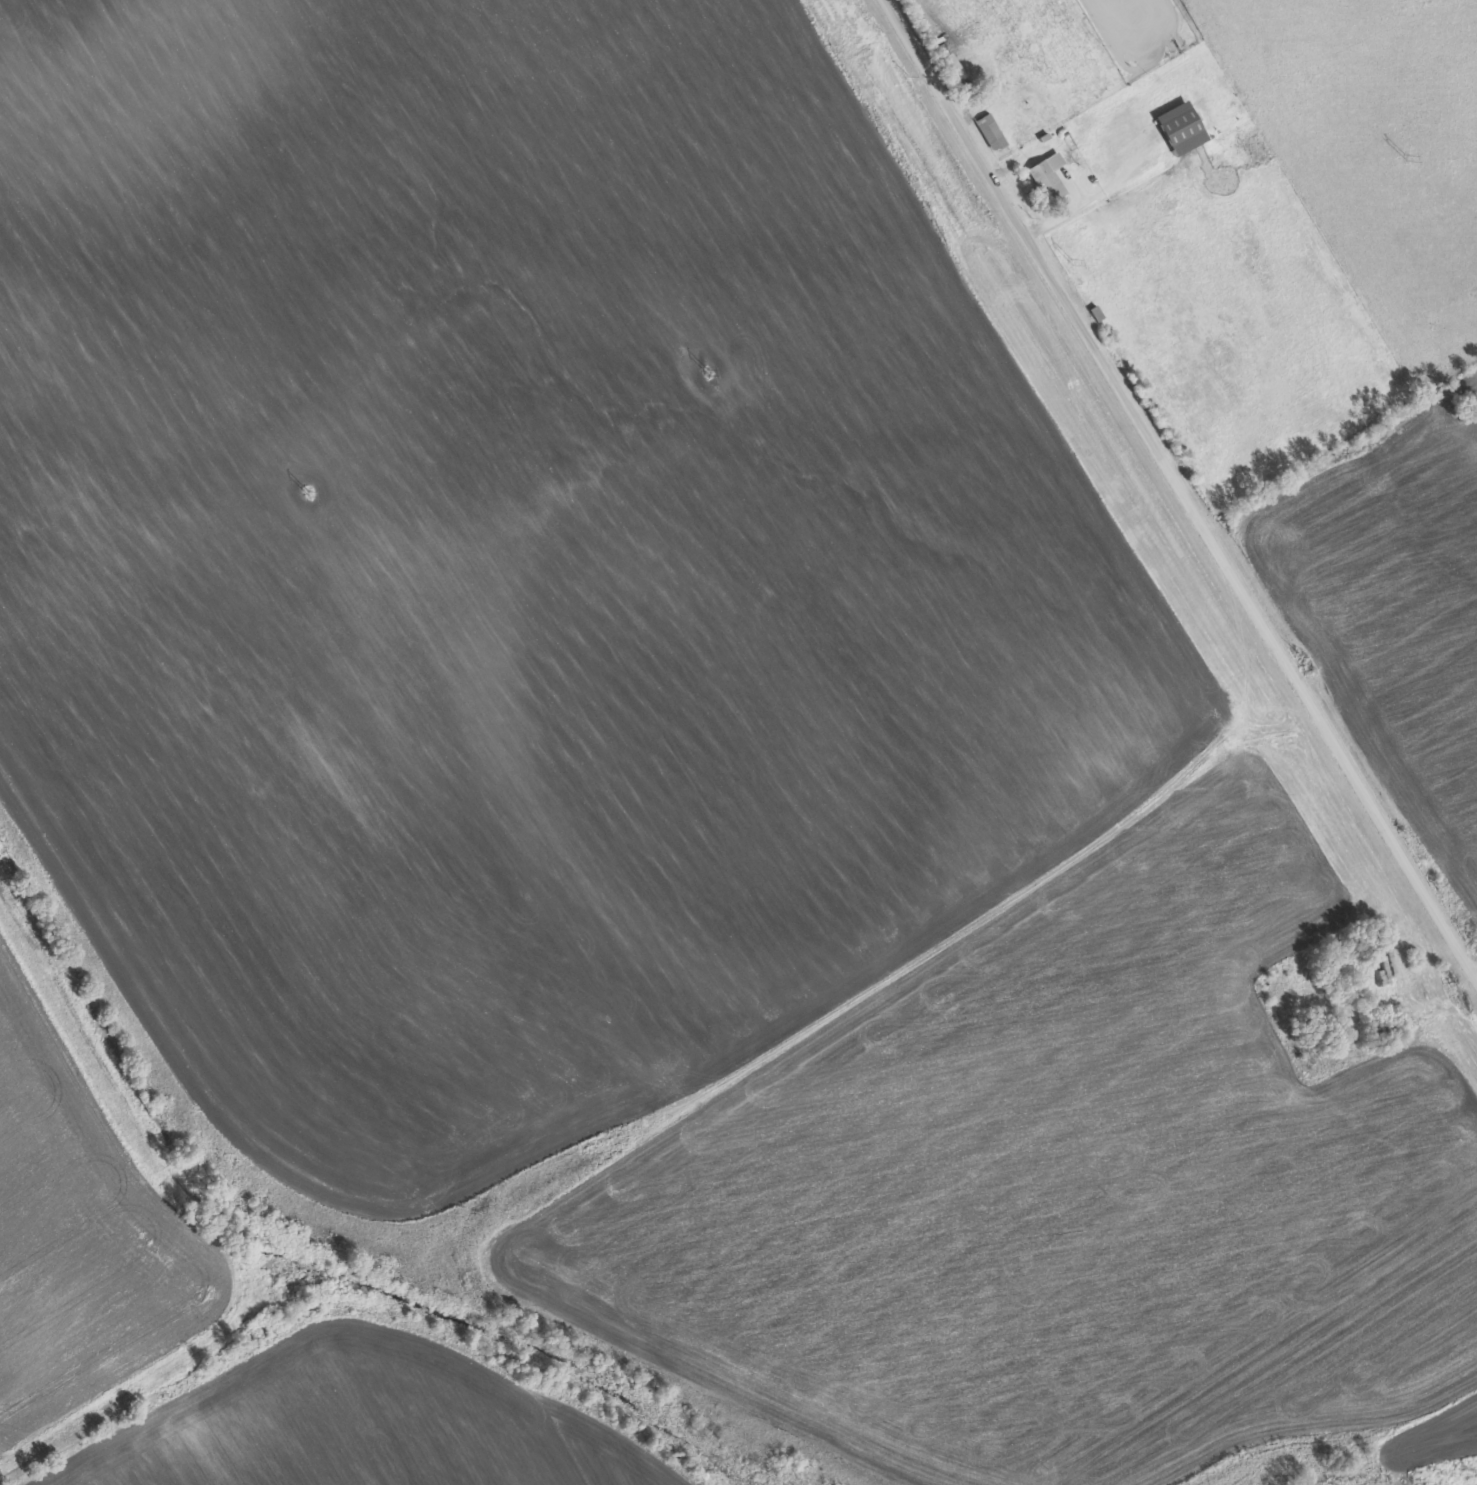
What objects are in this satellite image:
building: (951, 68)
building: (1180, 128)
building: (992, 133)
power tower: (1409, 155)
building: (1048, 177)
power tower: (1073, 261)
power tower: (710, 372)
road: (1181, 484)
power tower: (311, 489)

